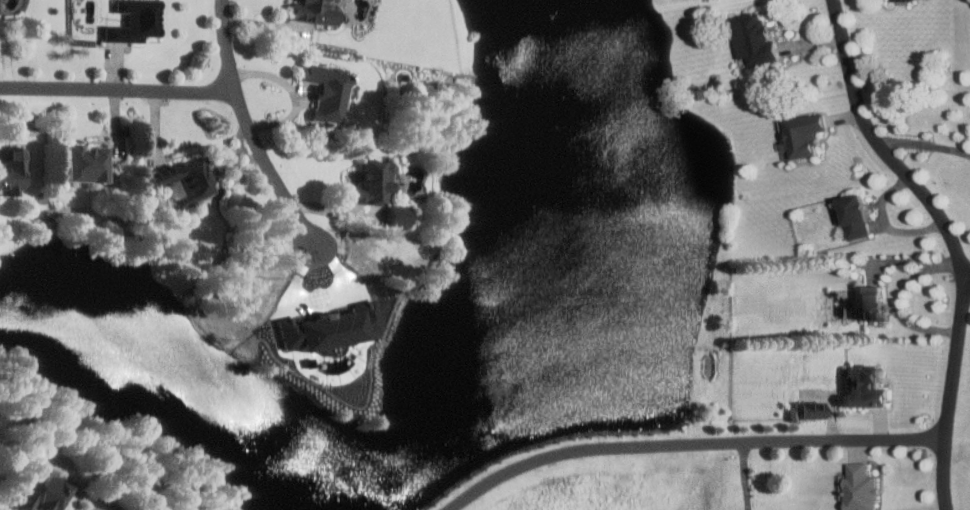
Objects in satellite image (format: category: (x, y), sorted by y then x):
building: (316, 11)
building: (136, 21)
building: (758, 38)
road: (119, 89)
building: (328, 89)
road: (252, 126)
building: (806, 133)
road: (925, 143)
building: (87, 163)
building: (13, 170)
building: (189, 178)
building: (371, 183)
building: (399, 215)
building: (859, 216)
river: (528, 218)
road: (883, 223)
road: (950, 240)
road: (966, 274)
building: (875, 303)
building: (331, 328)
building: (866, 387)
building: (813, 410)
road: (688, 443)
river: (511, 475)
road: (745, 475)
building: (861, 487)
building: (45, 492)

